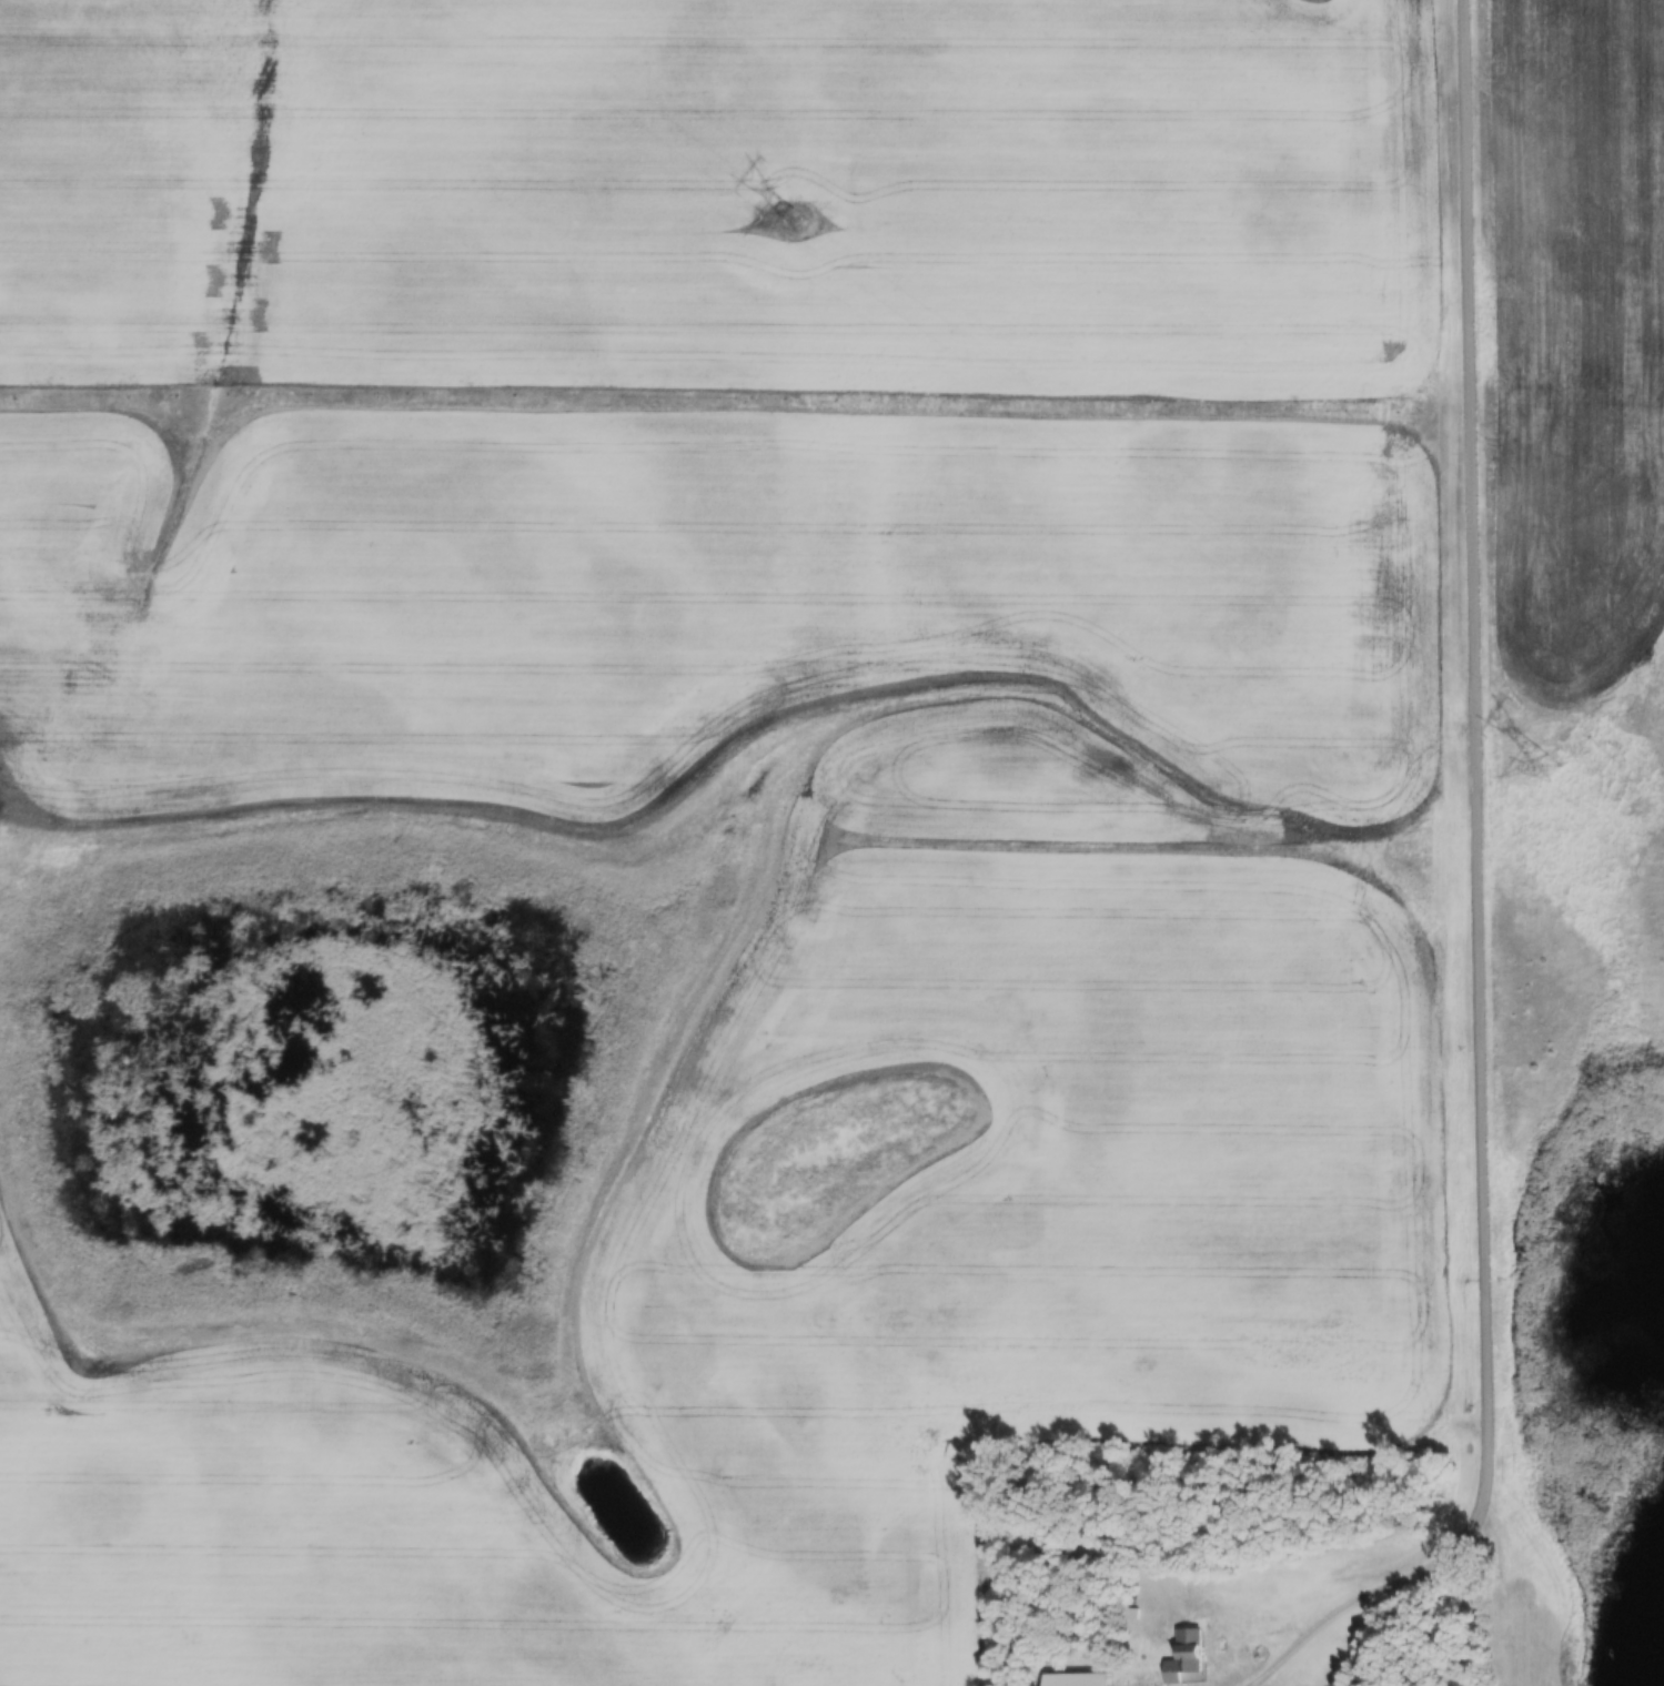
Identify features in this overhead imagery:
building: (1071, 99)
power tower: (785, 219)
building: (82, 491)
building: (754, 556)
building: (354, 609)
building: (1338, 648)
road: (1478, 770)
power tower: (1542, 780)
building: (1184, 1656)
building: (1077, 1679)

